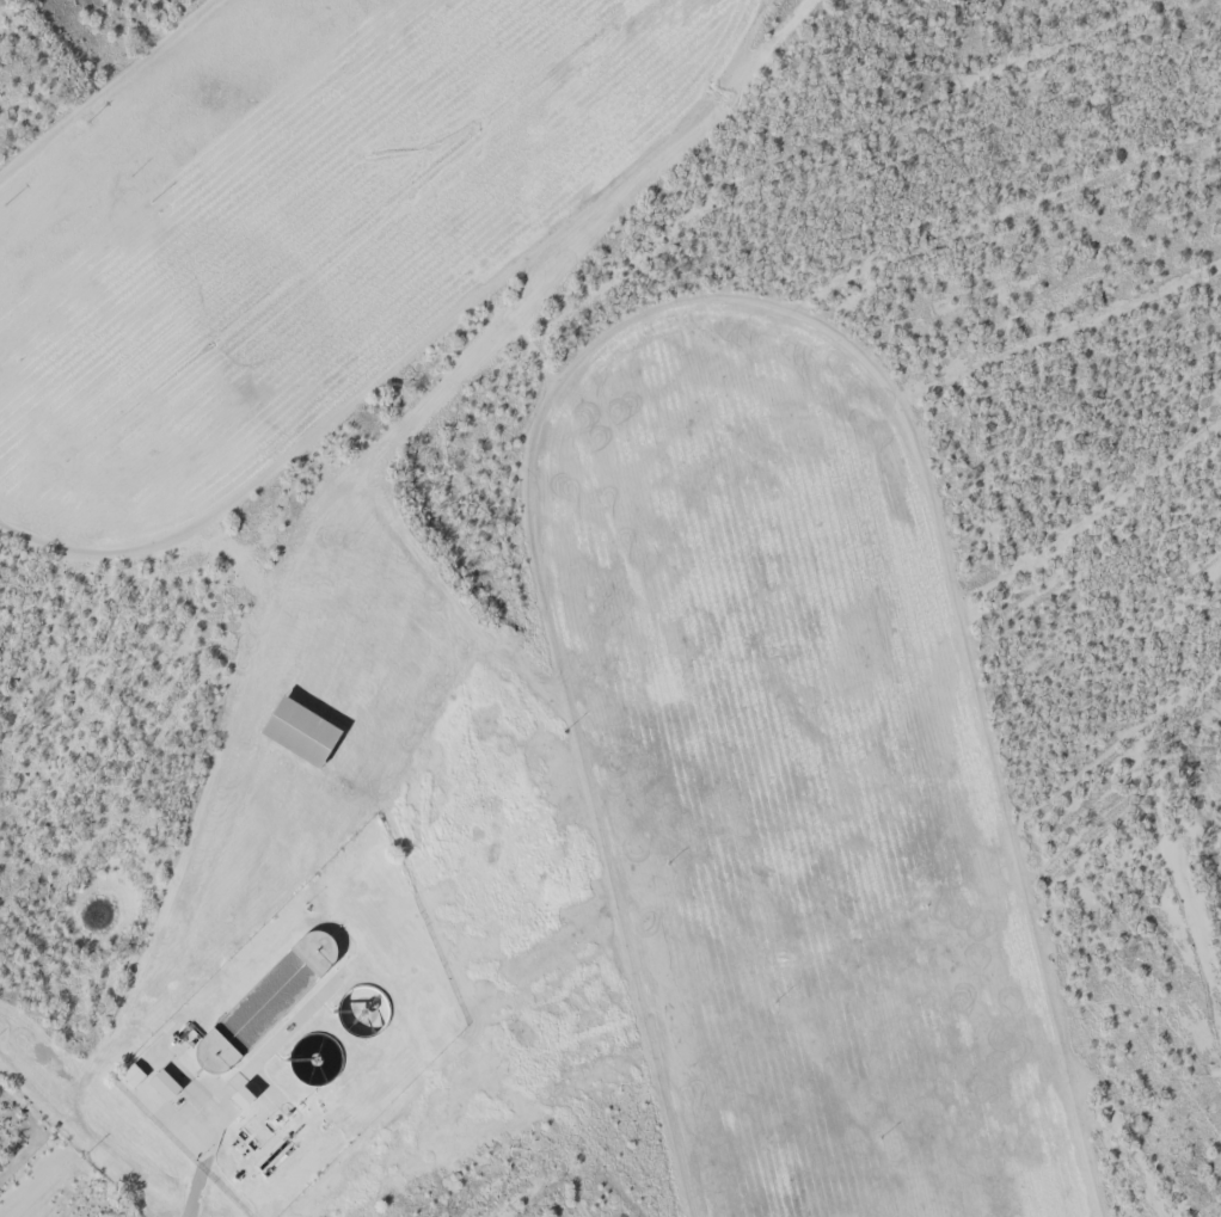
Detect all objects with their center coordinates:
road: (486, 611)
building: (295, 724)
building: (351, 1008)
building: (127, 1068)
building: (159, 1077)
road: (201, 1188)

